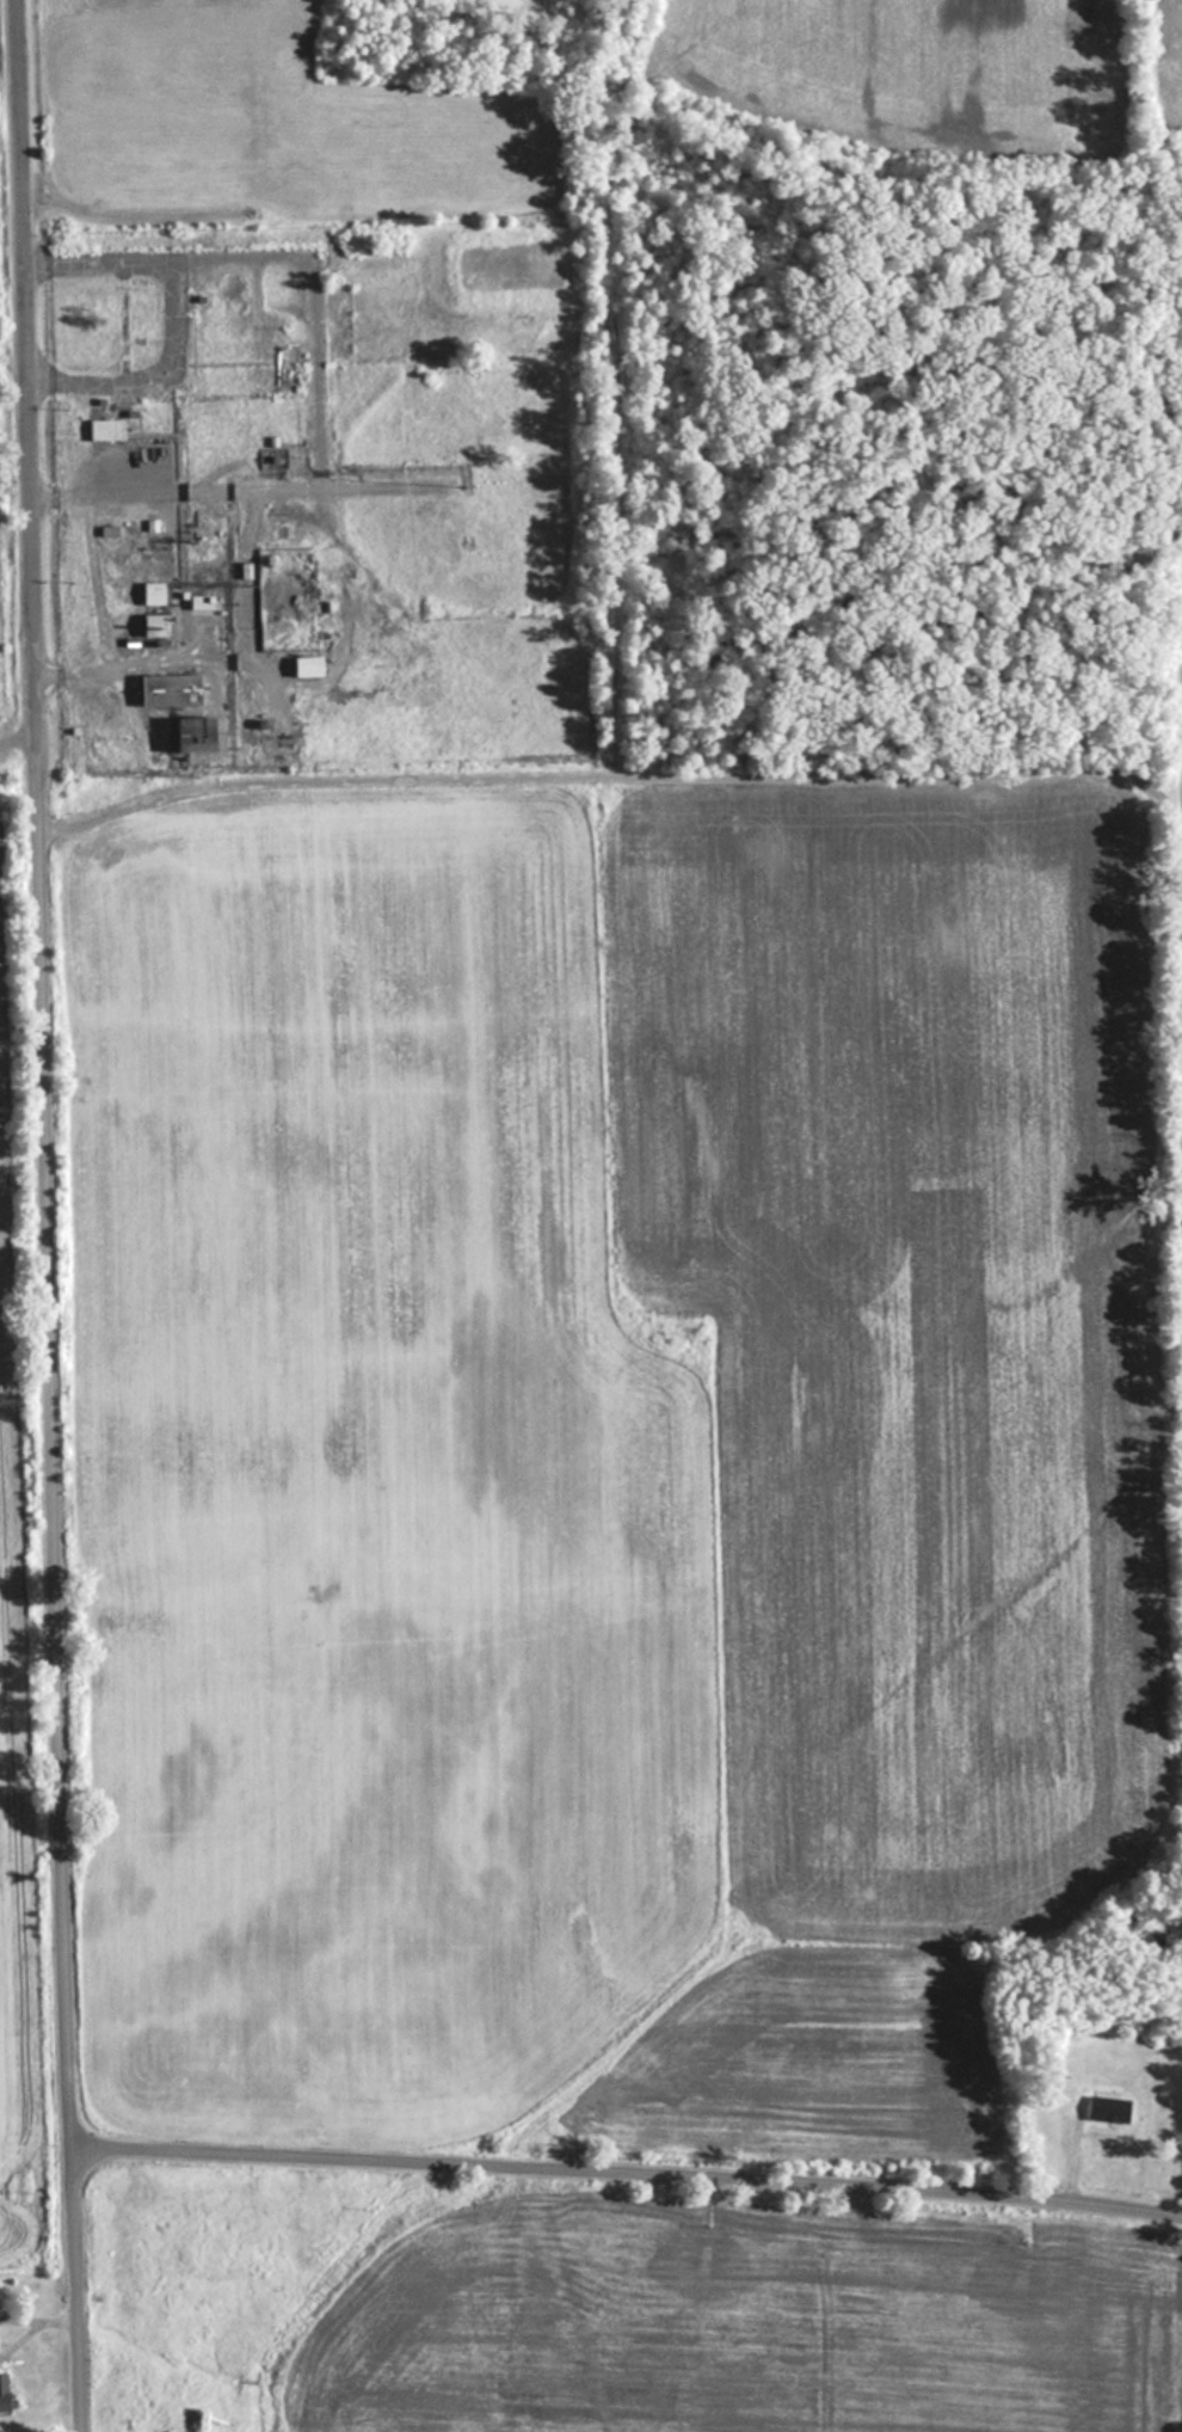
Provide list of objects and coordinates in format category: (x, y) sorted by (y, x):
road: (31, 369)
building: (104, 429)
building: (198, 601)
building: (152, 608)
building: (303, 665)
building: (166, 689)
building: (186, 735)
road: (19, 744)
road: (764, 774)
road: (59, 1586)
building: (1104, 2108)
road: (628, 2174)
building: (1, 2391)

